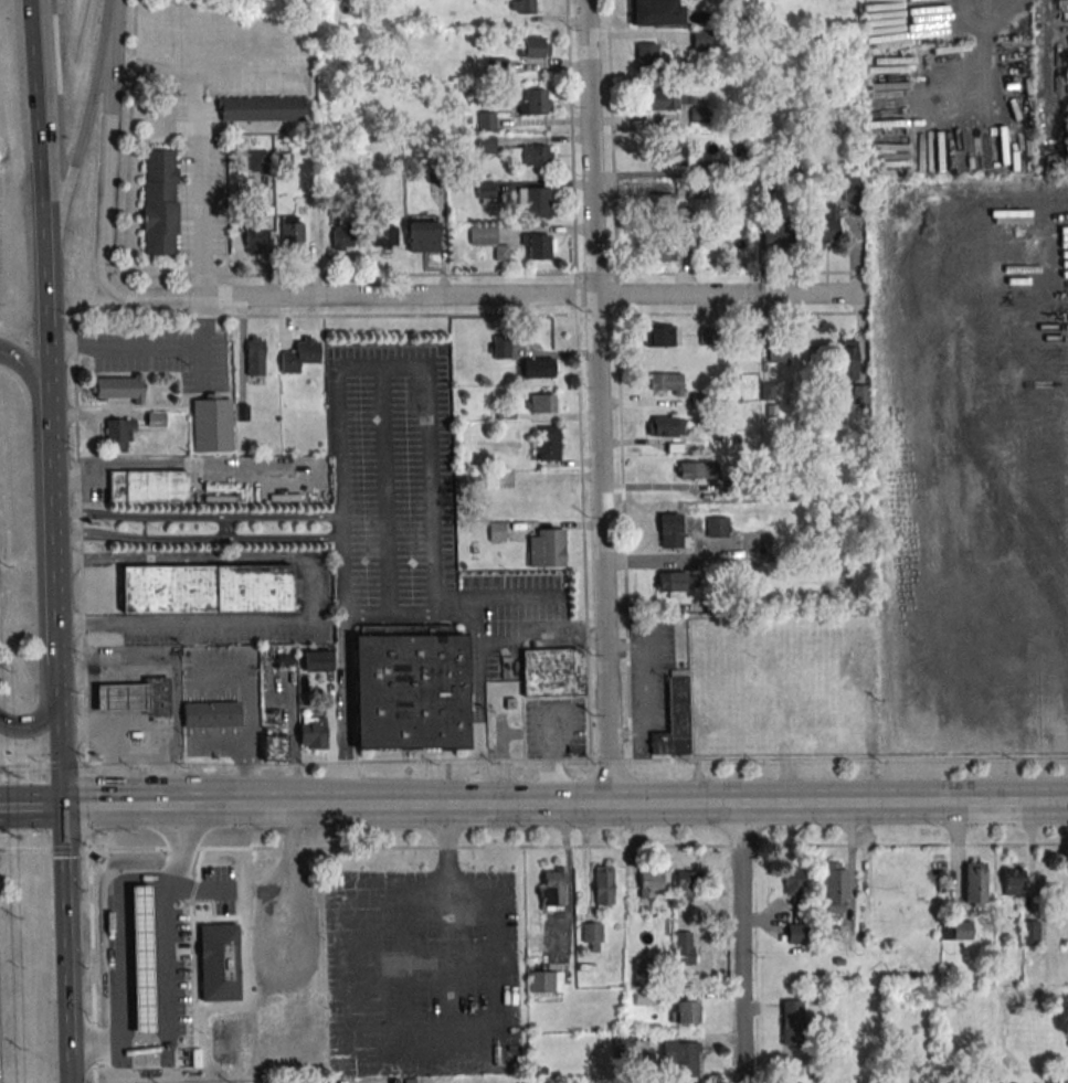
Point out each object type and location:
building: (527, 6)
building: (655, 12)
road: (110, 13)
building: (701, 39)
building: (533, 45)
building: (647, 55)
building: (535, 102)
building: (679, 103)
building: (261, 108)
road: (38, 116)
building: (485, 120)
road: (78, 129)
road: (128, 137)
building: (485, 144)
road: (193, 149)
building: (673, 150)
building: (531, 156)
road: (106, 158)
building: (258, 160)
building: (852, 187)
building: (485, 191)
building: (698, 191)
building: (537, 200)
building: (160, 202)
building: (659, 205)
building: (827, 225)
building: (292, 231)
building: (383, 233)
building: (423, 234)
building: (779, 235)
building: (342, 236)
building: (254, 240)
building: (487, 240)
building: (538, 246)
building: (659, 252)
road: (494, 274)
road: (485, 294)
road: (46, 315)
road: (469, 315)
road: (195, 319)
building: (658, 336)
road: (115, 342)
building: (300, 354)
building: (255, 355)
building: (849, 359)
road: (29, 369)
building: (538, 369)
road: (430, 373)
road: (578, 380)
road: (617, 380)
building: (666, 383)
building: (118, 387)
road: (599, 401)
building: (542, 403)
building: (211, 425)
building: (666, 426)
building: (118, 433)
building: (548, 443)
building: (698, 470)
building: (147, 486)
road: (387, 492)
building: (538, 500)
road: (195, 518)
road: (340, 528)
road: (226, 529)
building: (670, 530)
building: (497, 531)
building: (716, 535)
road: (195, 540)
building: (547, 548)
road: (52, 554)
building: (676, 583)
building: (205, 588)
road: (300, 590)
road: (511, 597)
road: (371, 618)
building: (857, 625)
road: (475, 635)
road: (540, 641)
building: (698, 641)
building: (316, 660)
building: (552, 672)
building: (707, 682)
road: (644, 689)
building: (785, 689)
building: (409, 691)
building: (157, 699)
road: (84, 700)
building: (124, 701)
traffic signals: (56, 710)
road: (345, 710)
building: (843, 711)
building: (211, 714)
building: (675, 716)
building: (805, 721)
road: (474, 723)
road: (29, 724)
building: (311, 731)
building: (273, 744)
road: (252, 746)
road: (548, 752)
road: (56, 757)
road: (577, 762)
road: (43, 764)
road: (627, 804)
road: (124, 805)
road: (30, 806)
traffic signals: (60, 806)
road: (569, 880)
building: (1014, 880)
building: (793, 881)
building: (687, 882)
building: (651, 883)
building: (603, 884)
building: (975, 884)
building: (836, 886)
building: (552, 888)
road: (197, 890)
road: (165, 925)
building: (962, 930)
building: (1030, 932)
building: (796, 933)
building: (591, 936)
road: (118, 941)
road: (738, 943)
road: (63, 944)
building: (685, 947)
building: (145, 963)
building: (219, 965)
building: (642, 968)
parking lot: (421, 973)
building: (544, 980)
building: (684, 1012)
building: (791, 1021)
building: (169, 1043)
building: (623, 1045)
road: (115, 1048)
road: (356, 1050)
building: (681, 1058)
building: (409, 1081)

